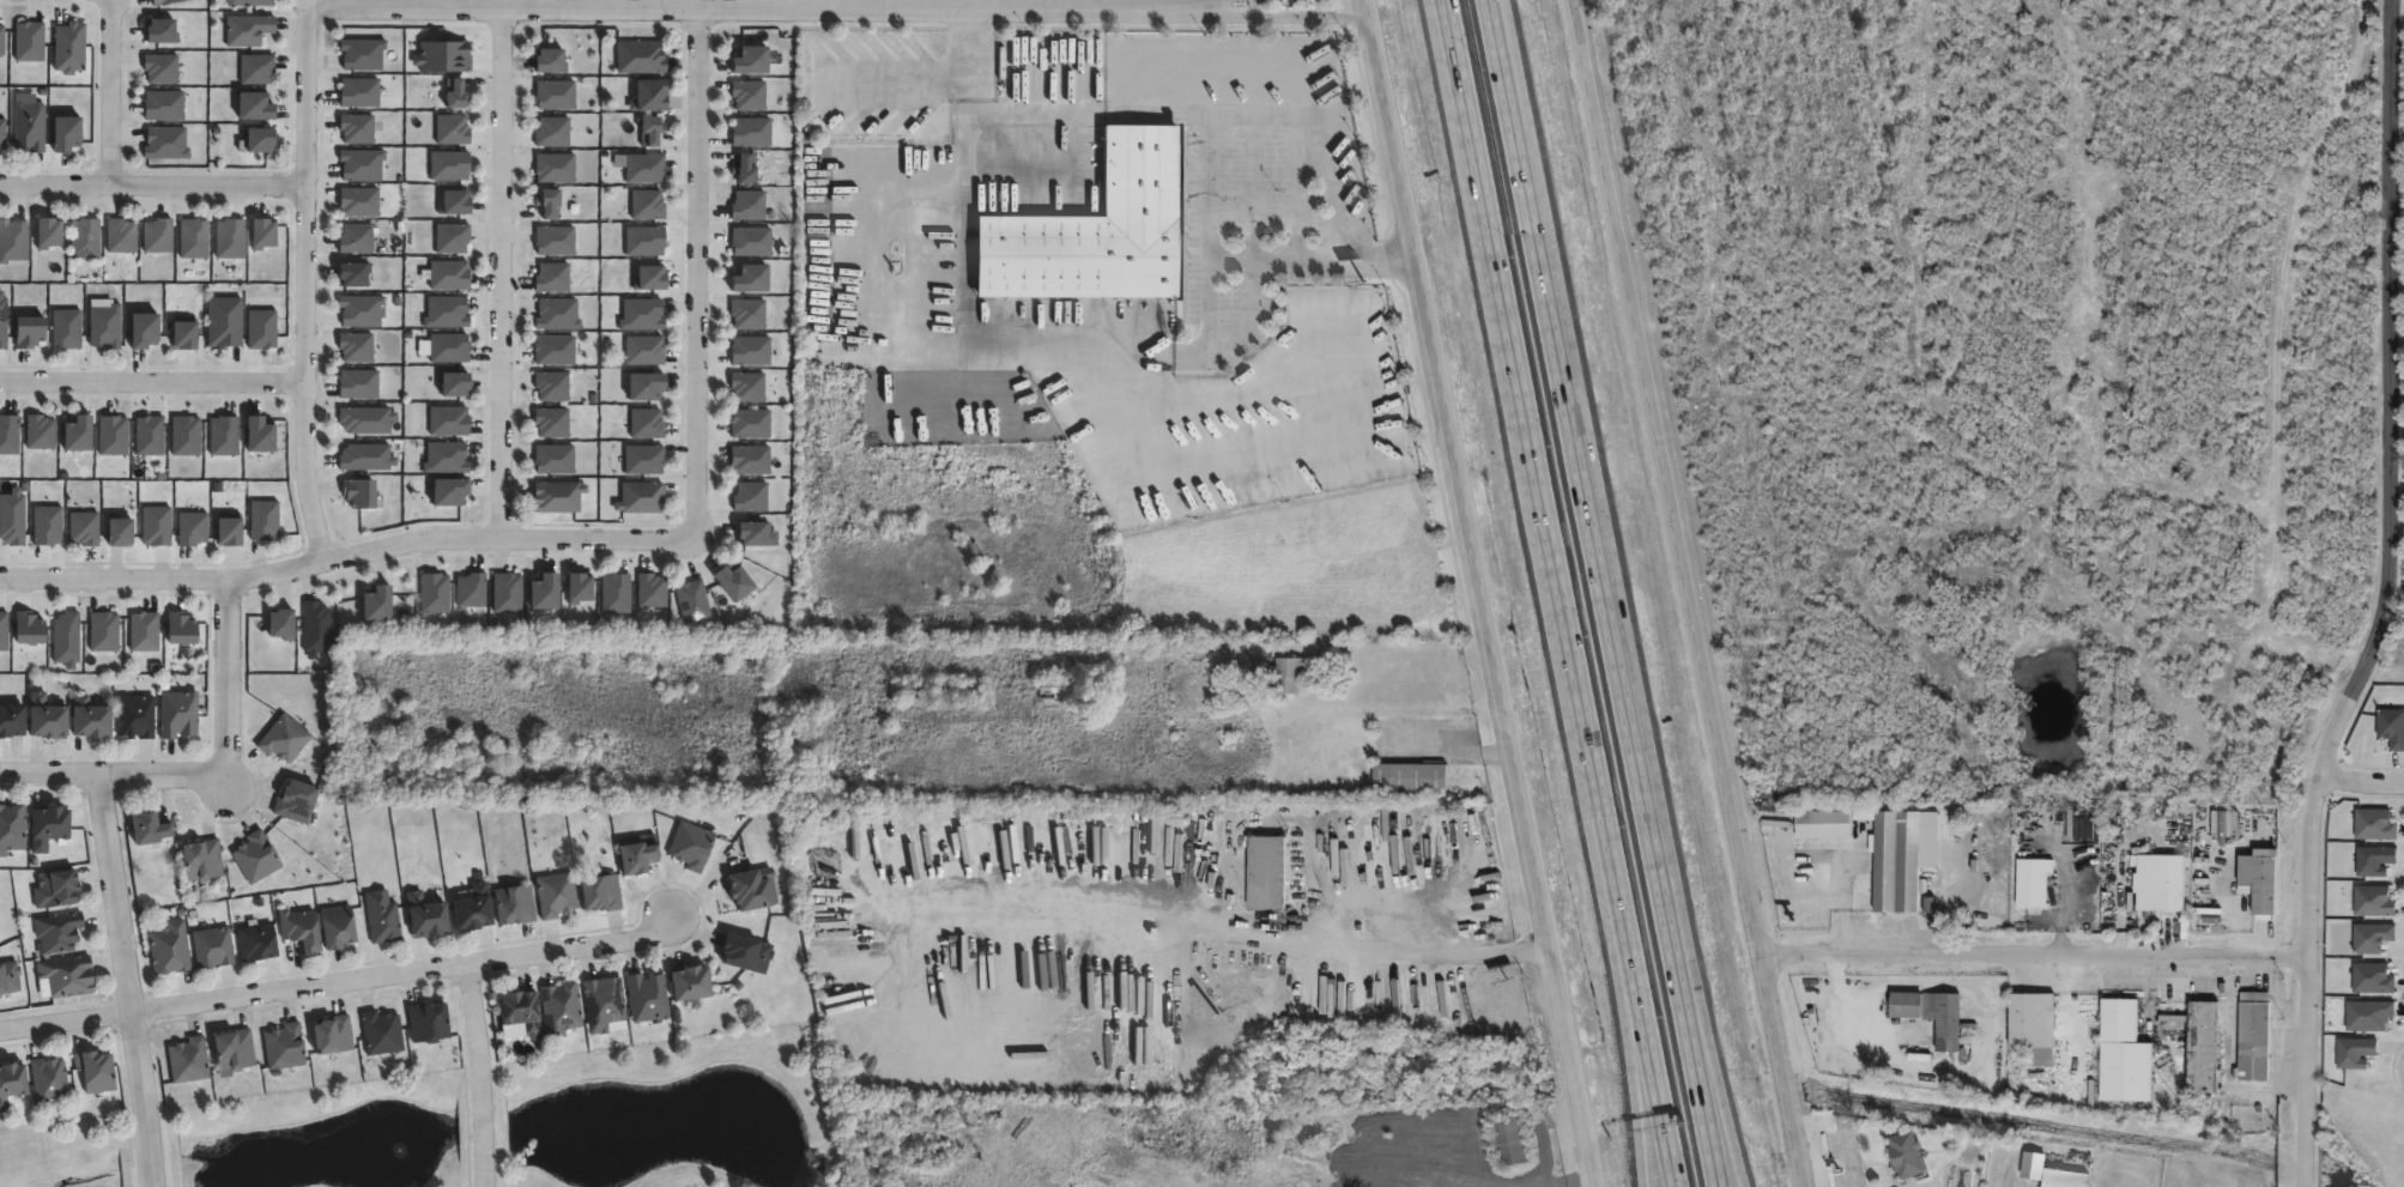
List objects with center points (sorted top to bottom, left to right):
building: (163, 1)
building: (250, 2)
road: (1194, 2)
road: (741, 6)
road: (1440, 8)
road: (1441, 8)
road: (2317, 12)
road: (1270, 14)
road: (2291, 24)
building: (161, 29)
building: (248, 29)
road: (1495, 35)
road: (1498, 35)
road: (962, 37)
building: (1, 38)
building: (29, 41)
building: (69, 47)
building: (363, 53)
building: (444, 55)
building: (641, 56)
building: (753, 59)
building: (553, 60)
building: (161, 67)
building: (256, 68)
road: (892, 69)
road: (110, 91)
building: (358, 92)
building: (456, 93)
building: (556, 93)
building: (649, 93)
building: (750, 95)
road: (1669, 95)
building: (164, 104)
building: (255, 104)
road: (1731, 110)
road: (1782, 110)
road: (1060, 114)
building: (29, 126)
building: (357, 128)
building: (453, 129)
building: (553, 131)
building: (652, 131)
building: (752, 131)
building: (2, 132)
building: (67, 132)
road: (1833, 135)
building: (261, 138)
road: (1315, 138)
building: (166, 143)
road: (1877, 144)
road: (2172, 146)
road: (2265, 146)
road: (2317, 159)
building: (363, 163)
building: (450, 165)
building: (556, 166)
building: (646, 168)
building: (2024, 168)
road: (2220, 169)
building: (746, 170)
road: (152, 184)
building: (359, 201)
building: (456, 202)
building: (550, 202)
building: (648, 205)
building: (749, 205)
road: (1693, 218)
building: (1090, 231)
building: (48, 232)
building: (264, 232)
building: (121, 235)
building: (158, 235)
road: (1730, 236)
building: (453, 237)
building: (84, 238)
building: (194, 238)
building: (231, 238)
building: (357, 238)
building: (12, 240)
building: (556, 240)
building: (646, 240)
building: (751, 241)
road: (1236, 260)
road: (498, 272)
road: (695, 273)
building: (355, 274)
building: (449, 274)
building: (553, 277)
building: (653, 278)
building: (753, 278)
road: (303, 281)
road: (2330, 293)
road: (1679, 307)
building: (361, 309)
building: (447, 311)
building: (749, 313)
building: (558, 314)
building: (642, 314)
building: (2, 320)
building: (225, 322)
building: (105, 326)
building: (66, 327)
building: (262, 328)
building: (144, 329)
building: (30, 331)
road: (1822, 331)
building: (184, 334)
road: (1017, 345)
building: (357, 347)
building: (449, 347)
building: (556, 350)
building: (646, 350)
building: (752, 350)
road: (151, 383)
building: (358, 383)
building: (456, 383)
building: (552, 384)
building: (648, 386)
building: (749, 386)
road: (1891, 387)
road: (2324, 392)
building: (367, 419)
building: (449, 420)
building: (552, 420)
building: (647, 423)
building: (751, 423)
building: (41, 431)
building: (8, 434)
building: (78, 434)
building: (113, 435)
building: (186, 435)
building: (225, 435)
building: (260, 435)
building: (150, 436)
road: (1526, 441)
road: (1909, 455)
road: (1951, 455)
road: (2000, 455)
road: (2045, 455)
road: (2138, 455)
building: (367, 456)
building: (447, 456)
road: (2093, 456)
road: (2184, 456)
road: (2232, 456)
building: (556, 459)
building: (644, 459)
building: (751, 459)
road: (1859, 461)
road: (1816, 466)
road: (1579, 474)
building: (452, 490)
building: (361, 492)
building: (559, 496)
building: (642, 497)
building: (752, 497)
building: (12, 517)
building: (265, 520)
building: (48, 525)
building: (157, 526)
building: (85, 527)
building: (193, 528)
building: (121, 532)
building: (231, 532)
building: (755, 533)
road: (345, 556)
road: (1951, 558)
road: (2138, 559)
building: (737, 582)
building: (581, 588)
building: (471, 589)
building: (653, 589)
building: (435, 592)
building: (546, 592)
building: (508, 593)
building: (617, 593)
road: (1473, 593)
road: (1687, 593)
road: (2040, 594)
building: (694, 600)
road: (2388, 601)
building: (380, 604)
building: (284, 624)
building: (29, 628)
building: (181, 628)
building: (316, 628)
building: (4, 631)
building: (104, 631)
building: (145, 631)
road: (1951, 637)
building: (66, 638)
road: (2137, 640)
crop: (2393, 649)
building: (1285, 674)
road: (225, 682)
building: (1074, 689)
building: (937, 690)
road: (1364, 713)
building: (178, 715)
building: (44, 717)
building: (135, 717)
building: (89, 720)
building: (11, 721)
building: (2391, 728)
building: (283, 739)
road: (2100, 745)
road: (111, 777)
building: (1413, 780)
road: (2358, 780)
building: (296, 801)
building: (1825, 820)
building: (2374, 825)
building: (46, 828)
building: (11, 829)
building: (147, 830)
road: (1831, 842)
building: (691, 847)
building: (255, 858)
building: (637, 859)
building: (201, 861)
building: (1899, 861)
building: (2373, 861)
building: (1271, 873)
building: (1223, 876)
building: (2036, 883)
building: (2163, 883)
building: (2265, 883)
building: (54, 890)
building: (752, 890)
building: (600, 894)
building: (556, 896)
building: (2373, 902)
building: (514, 906)
building: (472, 909)
road: (1209, 915)
building: (425, 916)
building: (382, 917)
road: (1872, 927)
building: (337, 928)
building: (299, 929)
building: (57, 933)
building: (2370, 938)
road: (1843, 943)
building: (255, 944)
building: (169, 949)
building: (212, 949)
building: (746, 955)
road: (2029, 959)
building: (8, 977)
building: (67, 977)
building: (2372, 980)
road: (126, 981)
road: (339, 983)
building: (691, 985)
building: (648, 998)
building: (604, 1006)
building: (561, 1010)
building: (520, 1012)
building: (1942, 1015)
building: (2367, 1016)
road: (1845, 1017)
building: (426, 1023)
building: (2037, 1023)
road: (1625, 1025)
road: (1639, 1025)
road: (1684, 1031)
building: (381, 1034)
building: (2259, 1035)
building: (332, 1036)
building: (2211, 1046)
building: (284, 1047)
building: (234, 1049)
building: (2130, 1050)
building: (2355, 1053)
road: (1708, 1056)
building: (188, 1059)
building: (95, 1070)
road: (479, 1074)
building: (47, 1078)
building: (10, 1080)
park: (525, 1128)
building: (1515, 1139)
fountain: (399, 1141)
building: (1911, 1153)
building: (2037, 1164)
building: (1964, 1176)
building: (2070, 1177)

